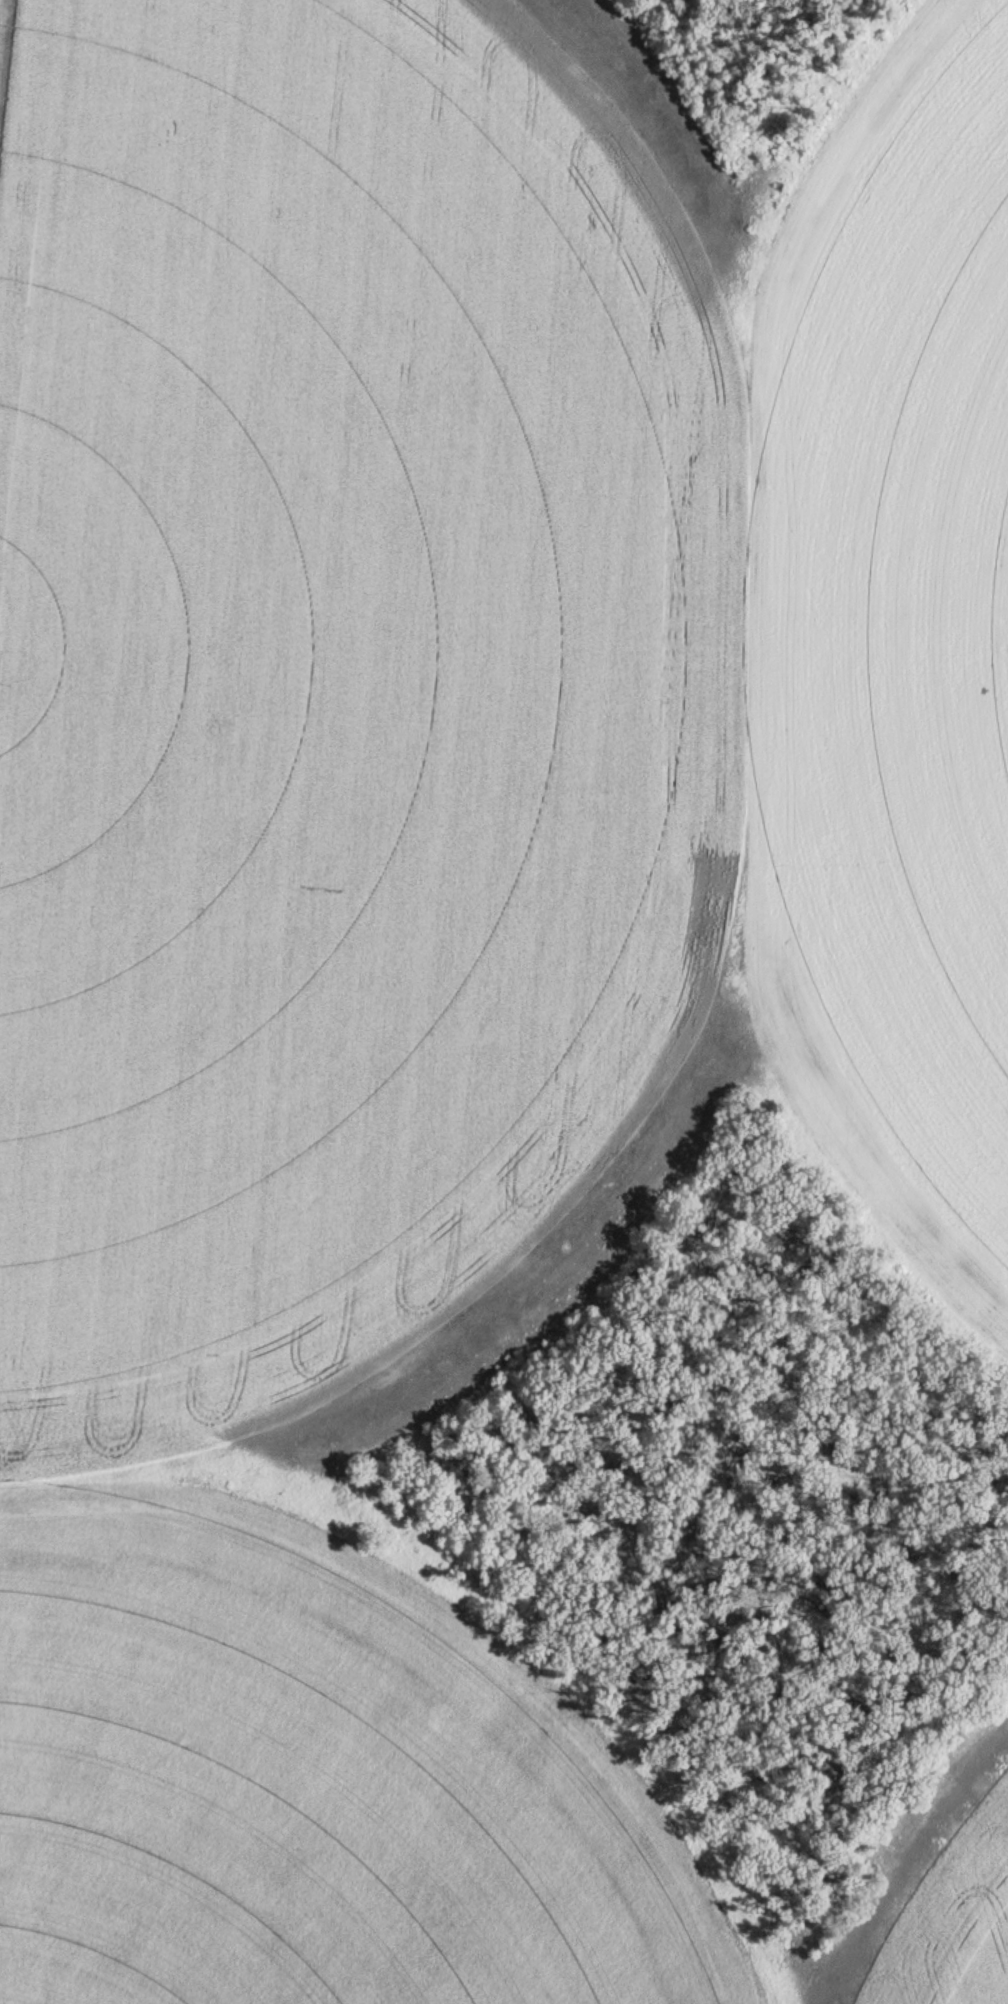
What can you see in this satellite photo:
wastewater plant: (504, 1002)

